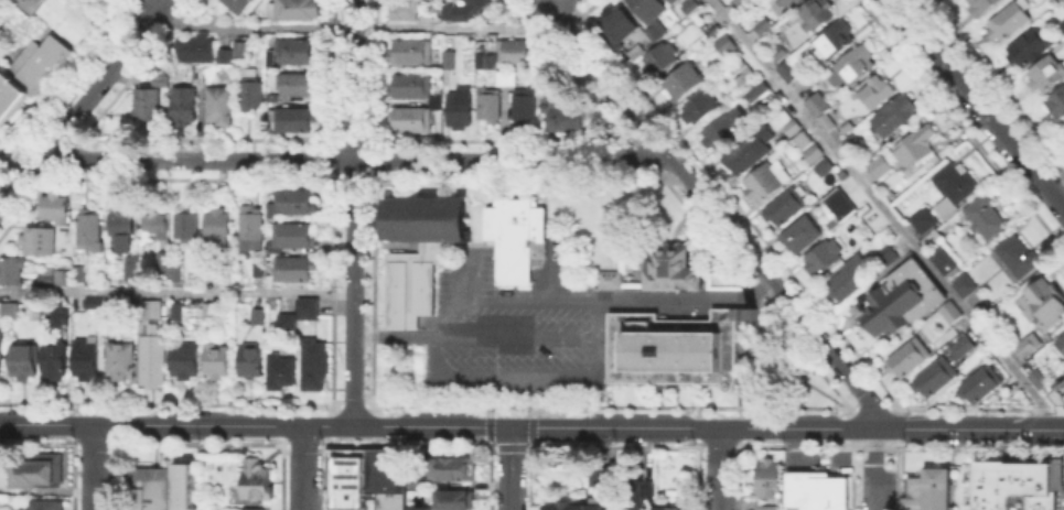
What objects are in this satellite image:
building: (670, 1)
building: (677, 2)
building: (737, 3)
building: (793, 3)
building: (239, 4)
road: (150, 6)
road: (560, 6)
building: (984, 6)
building: (691, 8)
building: (295, 9)
building: (407, 9)
building: (469, 10)
building: (820, 13)
building: (653, 15)
building: (64, 18)
building: (1012, 20)
road: (356, 26)
building: (621, 28)
building: (713, 28)
building: (757, 28)
building: (1063, 28)
building: (838, 40)
building: (723, 43)
building: (196, 48)
building: (1030, 50)
building: (781, 51)
building: (237, 52)
building: (299, 53)
building: (413, 53)
building: (517, 53)
building: (637, 53)
building: (223, 54)
building: (660, 58)
building: (451, 61)
building: (482, 63)
building: (739, 64)
building: (795, 67)
building: (856, 68)
building: (25, 72)
road: (602, 74)
building: (1049, 74)
building: (203, 76)
building: (507, 78)
building: (680, 79)
building: (162, 80)
building: (299, 86)
building: (878, 90)
building: (755, 93)
building: (254, 95)
road: (83, 100)
building: (146, 102)
building: (816, 102)
building: (186, 104)
building: (437, 104)
road: (978, 104)
building: (1058, 104)
building: (222, 106)
building: (491, 106)
building: (701, 106)
building: (526, 107)
building: (461, 112)
building: (894, 113)
building: (570, 119)
building: (299, 120)
building: (825, 120)
building: (1063, 124)
building: (845, 126)
building: (721, 132)
building: (799, 133)
building: (856, 143)
building: (918, 145)
building: (816, 154)
building: (749, 156)
road: (353, 159)
building: (881, 166)
building: (825, 169)
building: (767, 183)
building: (955, 187)
building: (294, 203)
building: (787, 207)
building: (56, 208)
building: (840, 208)
road: (352, 211)
road: (884, 211)
building: (981, 215)
building: (426, 216)
building: (926, 220)
building: (158, 223)
building: (189, 225)
building: (254, 226)
building: (123, 229)
building: (219, 229)
building: (92, 231)
building: (515, 235)
building: (297, 236)
building: (803, 236)
building: (40, 240)
building: (1020, 256)
building: (889, 258)
building: (825, 260)
building: (164, 261)
building: (133, 268)
building: (258, 268)
building: (670, 268)
building: (292, 269)
road: (550, 270)
building: (12, 272)
building: (175, 272)
road: (462, 273)
building: (82, 274)
building: (957, 274)
building: (605, 276)
building: (43, 278)
building: (225, 279)
building: (412, 281)
building: (851, 282)
road: (773, 286)
road: (175, 293)
road: (683, 295)
road: (504, 297)
building: (1046, 297)
building: (905, 300)
building: (92, 301)
building: (8, 306)
building: (150, 307)
building: (305, 307)
building: (175, 310)
building: (207, 310)
building: (949, 311)
building: (60, 312)
building: (256, 316)
building: (283, 322)
road: (391, 336)
road: (513, 336)
building: (1060, 340)
building: (963, 345)
building: (0, 346)
building: (673, 346)
building: (1029, 347)
building: (911, 358)
building: (150, 359)
building: (88, 360)
building: (57, 361)
building: (25, 362)
building: (122, 362)
building: (187, 362)
building: (217, 362)
building: (252, 362)
building: (318, 365)
building: (283, 373)
road: (533, 375)
building: (933, 376)
building: (1036, 377)
building: (978, 381)
building: (1063, 395)
road: (175, 425)
road: (430, 425)
traffic signals: (509, 425)
road: (691, 426)
road: (914, 428)
road: (1003, 428)
road: (1058, 430)
road: (95, 467)
road: (303, 467)
building: (452, 467)
road: (509, 467)
road: (719, 469)
road: (873, 469)
building: (3, 470)
building: (36, 475)
building: (598, 475)
building: (258, 478)
building: (766, 478)
building: (364, 479)
building: (1017, 482)
building: (638, 487)
building: (164, 489)
building: (815, 489)
building: (928, 489)
parking lot: (1063, 498)
building: (454, 499)
building: (45, 506)
building: (572, 506)
building: (673, 507)
building: (765, 507)
building: (250, 508)
building: (423, 509)

